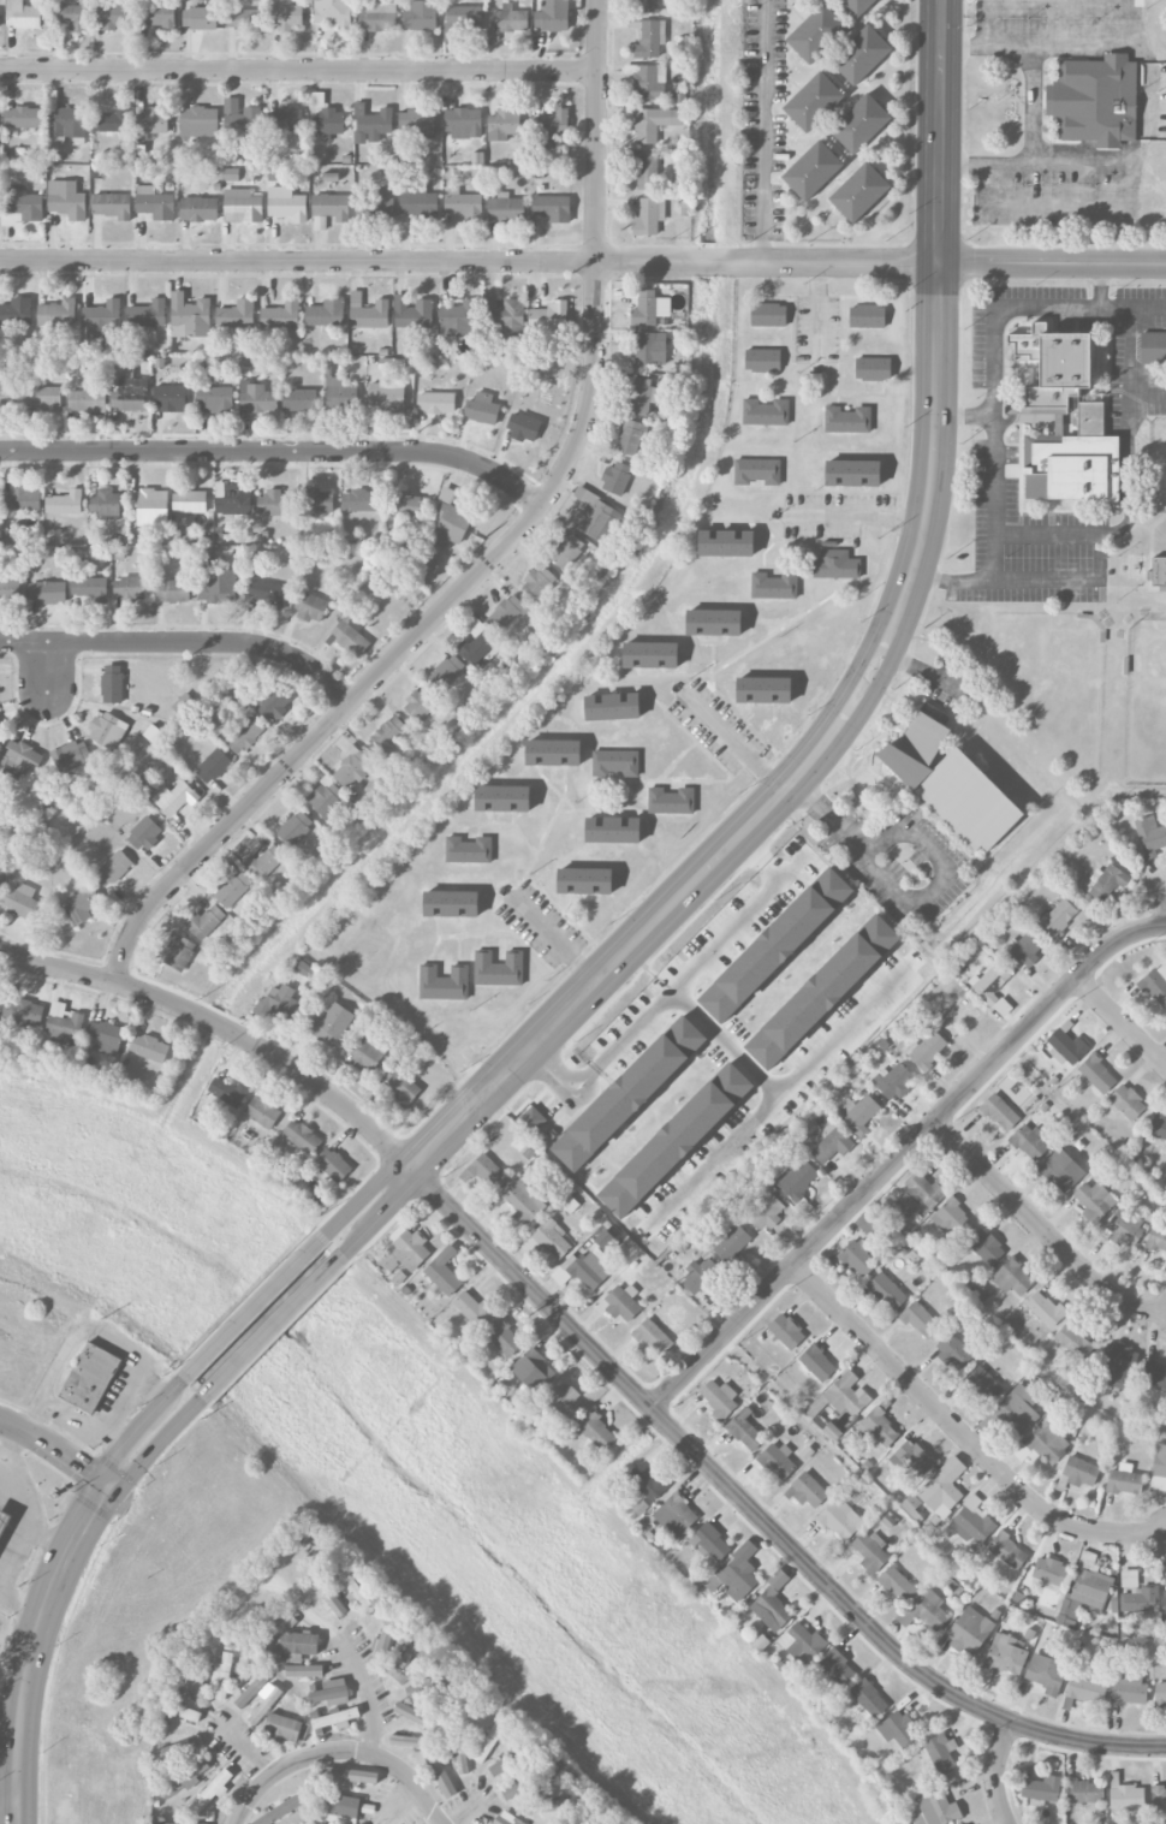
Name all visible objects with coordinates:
building: (648, 6)
building: (857, 6)
building: (333, 13)
building: (23, 16)
building: (70, 16)
building: (156, 16)
building: (287, 16)
building: (420, 16)
building: (552, 16)
building: (112, 17)
building: (379, 17)
building: (200, 18)
building: (244, 19)
building: (507, 20)
building: (462, 22)
building: (816, 34)
building: (650, 40)
building: (862, 55)
road: (298, 70)
building: (1095, 100)
building: (814, 101)
road: (1031, 112)
building: (240, 117)
building: (23, 118)
building: (286, 119)
building: (112, 120)
building: (153, 121)
building: (198, 121)
building: (328, 123)
building: (463, 123)
building: (552, 123)
building: (861, 123)
building: (66, 124)
building: (371, 124)
building: (416, 124)
building: (654, 124)
building: (504, 125)
road: (766, 131)
building: (813, 170)
building: (647, 172)
building: (859, 191)
building: (66, 200)
building: (417, 201)
building: (155, 203)
building: (286, 203)
building: (462, 204)
building: (20, 206)
building: (112, 206)
building: (380, 206)
building: (243, 207)
building: (332, 207)
building: (552, 208)
building: (198, 209)
building: (505, 209)
building: (649, 218)
road: (582, 262)
road: (1101, 286)
road: (1011, 307)
building: (649, 309)
building: (16, 313)
building: (412, 313)
building: (58, 314)
building: (237, 314)
building: (326, 314)
building: (768, 314)
building: (147, 315)
building: (370, 315)
building: (867, 315)
building: (190, 316)
building: (281, 316)
building: (457, 320)
building: (510, 320)
building: (102, 321)
building: (548, 322)
building: (1153, 347)
building: (650, 349)
building: (763, 360)
building: (1054, 364)
building: (874, 368)
building: (339, 393)
building: (130, 394)
building: (642, 396)
road: (1147, 396)
building: (6, 397)
building: (387, 397)
building: (44, 398)
building: (171, 398)
building: (257, 398)
building: (215, 399)
building: (299, 399)
building: (87, 400)
building: (435, 403)
building: (482, 409)
building: (766, 411)
building: (849, 418)
building: (523, 427)
building: (630, 438)
road: (278, 452)
building: (1073, 462)
building: (757, 471)
building: (853, 473)
building: (617, 477)
building: (22, 499)
building: (233, 499)
building: (190, 500)
building: (361, 500)
building: (65, 503)
building: (106, 504)
building: (273, 504)
building: (407, 505)
building: (150, 507)
road: (858, 515)
building: (596, 517)
building: (450, 522)
road: (1049, 536)
building: (726, 543)
building: (567, 551)
road: (500, 553)
building: (835, 563)
road: (1097, 580)
building: (539, 582)
building: (219, 583)
road: (954, 583)
building: (774, 586)
building: (89, 587)
building: (130, 588)
building: (8, 589)
building: (173, 590)
building: (47, 592)
building: (268, 594)
building: (309, 607)
building: (506, 613)
building: (713, 623)
building: (349, 637)
building: (477, 641)
road: (184, 643)
building: (650, 654)
park: (1082, 669)
road: (875, 670)
building: (446, 672)
building: (112, 684)
building: (763, 690)
building: (272, 703)
building: (418, 706)
building: (612, 707)
building: (106, 731)
building: (388, 733)
building: (1, 736)
building: (245, 736)
road: (736, 744)
building: (553, 753)
building: (72, 755)
building: (22, 757)
building: (615, 762)
building: (213, 766)
building: (351, 768)
building: (951, 784)
building: (176, 798)
building: (328, 798)
building: (502, 798)
building: (671, 801)
building: (295, 828)
building: (612, 828)
building: (145, 833)
building: (1150, 836)
building: (468, 850)
building: (264, 862)
building: (0, 865)
building: (113, 868)
building: (1, 880)
building: (584, 880)
building: (1107, 885)
building: (233, 889)
road: (903, 895)
building: (22, 901)
building: (451, 903)
building: (82, 905)
building: (1059, 917)
building: (204, 922)
road: (553, 939)
building: (775, 946)
building: (180, 952)
building: (1024, 952)
road: (695, 967)
building: (498, 968)
road: (58, 969)
building: (444, 982)
building: (990, 982)
building: (1156, 985)
building: (822, 992)
building: (282, 1003)
building: (24, 1014)
road: (1119, 1021)
building: (64, 1022)
building: (331, 1024)
building: (106, 1038)
building: (149, 1047)
building: (928, 1050)
building: (364, 1054)
road: (276, 1058)
road: (534, 1058)
road: (795, 1071)
building: (1097, 1074)
road: (559, 1075)
building: (893, 1081)
road: (552, 1082)
building: (400, 1086)
building: (228, 1092)
building: (630, 1094)
road: (565, 1100)
building: (1128, 1103)
building: (262, 1112)
building: (1000, 1112)
building: (534, 1118)
building: (1159, 1129)
building: (302, 1136)
building: (676, 1139)
building: (1029, 1143)
building: (832, 1146)
road: (720, 1147)
road: (902, 1155)
building: (333, 1164)
building: (1061, 1171)
building: (484, 1172)
building: (798, 1178)
road: (365, 1195)
building: (918, 1196)
building: (1094, 1201)
building: (523, 1204)
building: (570, 1204)
building: (766, 1212)
road: (382, 1214)
building: (952, 1219)
building: (868, 1224)
building: (1125, 1226)
road: (1043, 1229)
building: (1158, 1237)
building: (552, 1238)
building: (605, 1240)
building: (732, 1243)
building: (986, 1247)
building: (404, 1249)
building: (858, 1258)
building: (587, 1269)
building: (444, 1272)
building: (700, 1276)
building: (1013, 1278)
building: (887, 1291)
building: (621, 1302)
road: (255, 1308)
building: (474, 1308)
building: (1045, 1308)
building: (921, 1320)
road: (273, 1326)
building: (786, 1331)
building: (654, 1337)
building: (502, 1338)
building: (1075, 1342)
building: (953, 1351)
building: (817, 1362)
building: (1119, 1363)
building: (534, 1371)
building: (1155, 1374)
building: (90, 1378)
building: (983, 1385)
road: (124, 1390)
building: (841, 1396)
building: (719, 1398)
building: (565, 1402)
building: (1017, 1409)
road: (71, 1422)
building: (879, 1427)
road: (136, 1428)
road: (112, 1430)
building: (745, 1430)
building: (597, 1431)
road: (962, 1434)
road: (10, 1445)
road: (156, 1445)
road: (56, 1446)
building: (912, 1457)
building: (777, 1461)
building: (1159, 1469)
building: (1079, 1472)
building: (648, 1483)
building: (1125, 1483)
traffic signals: (107, 1486)
building: (944, 1487)
building: (807, 1491)
building: (914, 1507)
building: (676, 1515)
road: (757, 1515)
building: (840, 1520)
building: (5, 1521)
road: (24, 1521)
building: (970, 1523)
building: (712, 1541)
building: (870, 1551)
building: (1009, 1551)
building: (1049, 1570)
building: (737, 1574)
building: (347, 1579)
road: (4, 1580)
building: (897, 1584)
building: (1090, 1588)
building: (327, 1593)
building: (1141, 1600)
building: (1165, 1604)
building: (772, 1610)
building: (930, 1610)
building: (1070, 1611)
building: (387, 1630)
building: (969, 1632)
building: (290, 1642)
building: (802, 1644)
road: (35, 1647)
building: (1006, 1654)
building: (409, 1663)
building: (837, 1668)
building: (303, 1671)
building: (1046, 1674)
building: (221, 1676)
building: (195, 1687)
building: (1130, 1688)
building: (1085, 1689)
building: (250, 1692)
building: (332, 1693)
building: (1160, 1693)
road: (371, 1694)
building: (867, 1699)
building: (266, 1703)
building: (182, 1711)
building: (417, 1717)
building: (335, 1718)
building: (286, 1727)
building: (899, 1729)
building: (409, 1742)
building: (488, 1742)
building: (189, 1745)
building: (459, 1751)
road: (249, 1752)
road: (338, 1752)
building: (939, 1752)
building: (508, 1761)
road: (995, 1772)
building: (350, 1775)
building: (440, 1775)
building: (184, 1778)
building: (522, 1788)
building: (1041, 1790)
building: (212, 1792)
building: (1085, 1792)
building: (1159, 1799)
building: (551, 1806)
road: (8, 1807)
building: (936, 1808)
building: (344, 1810)
building: (280, 1811)
building: (507, 1819)
building: (584, 1822)
building: (174, 1823)

